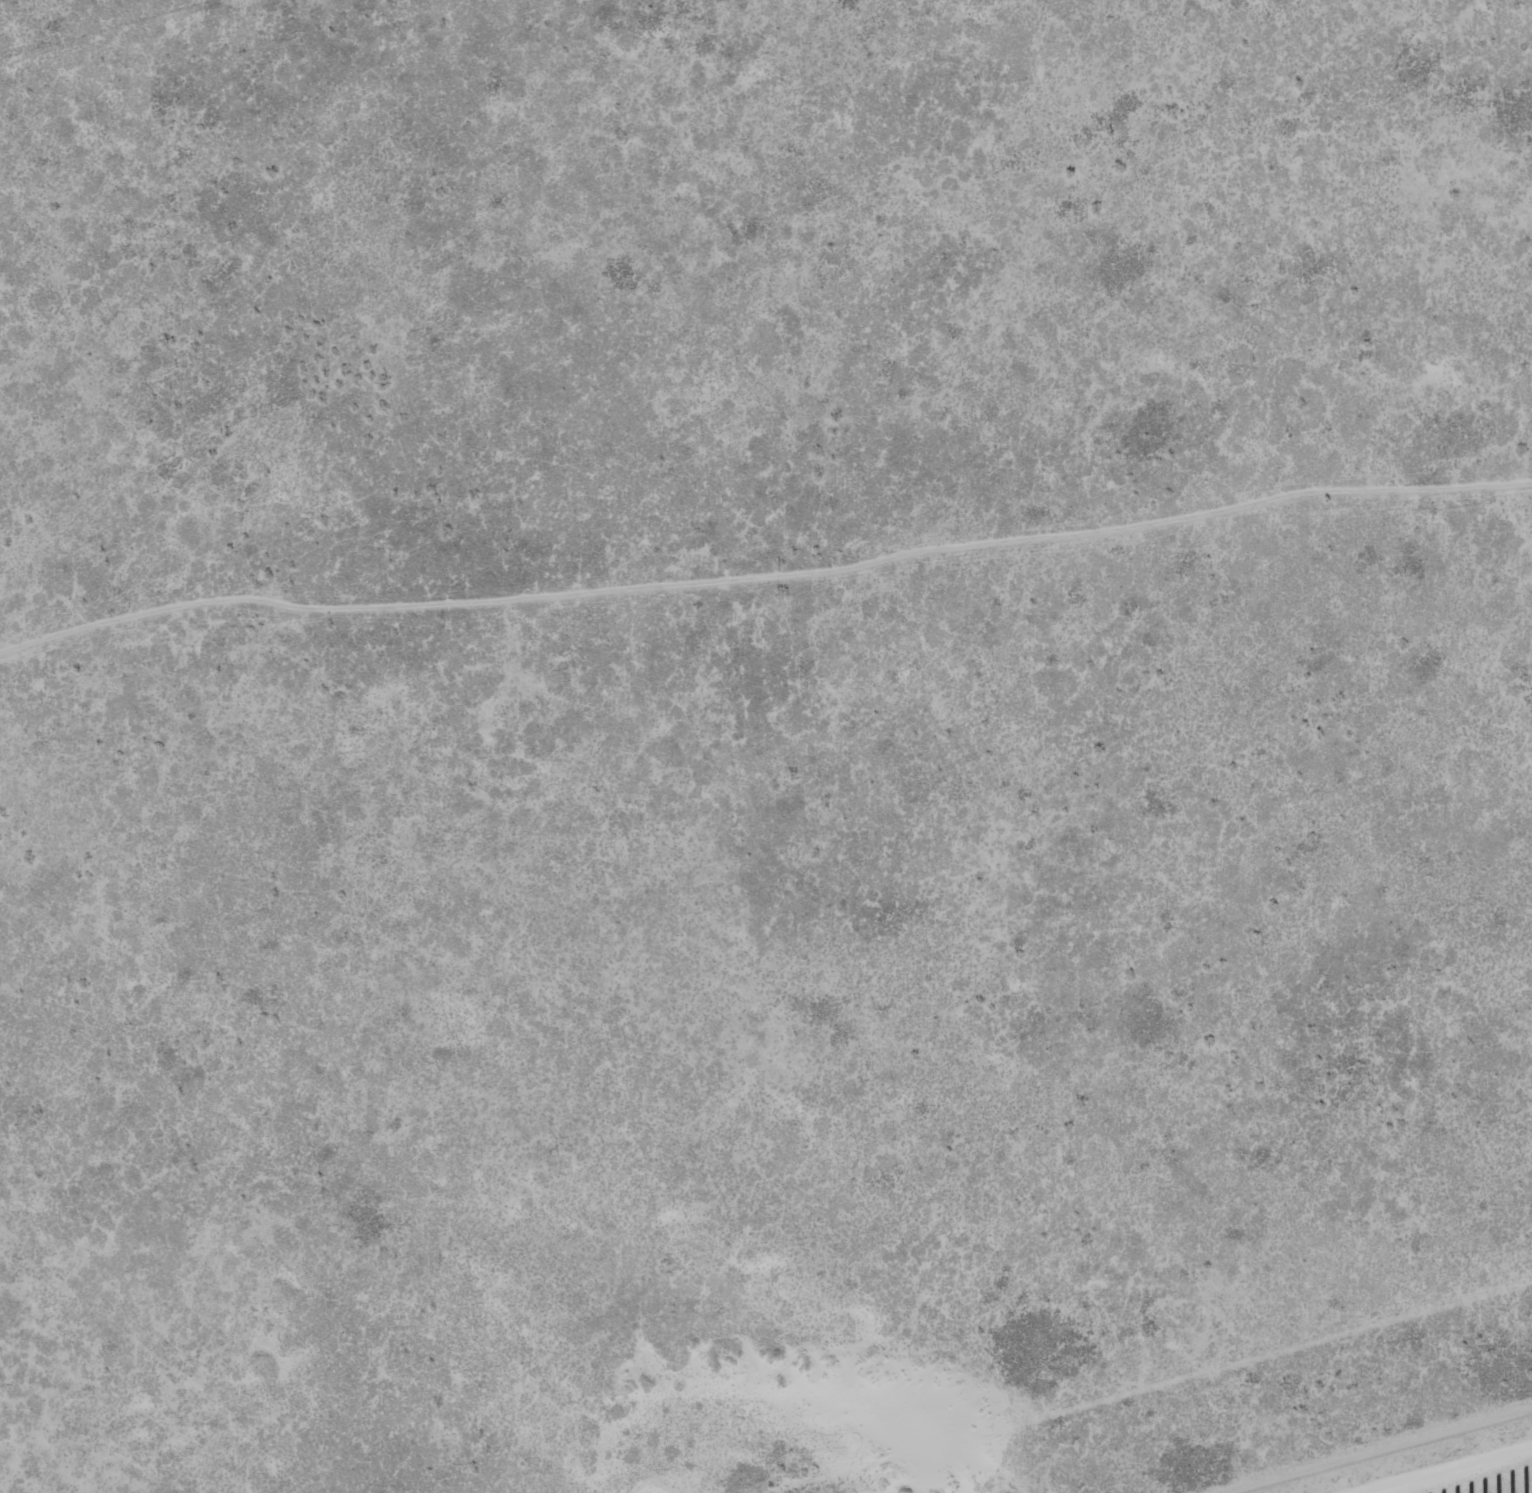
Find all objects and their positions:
solar farm: (1430, 1465)

